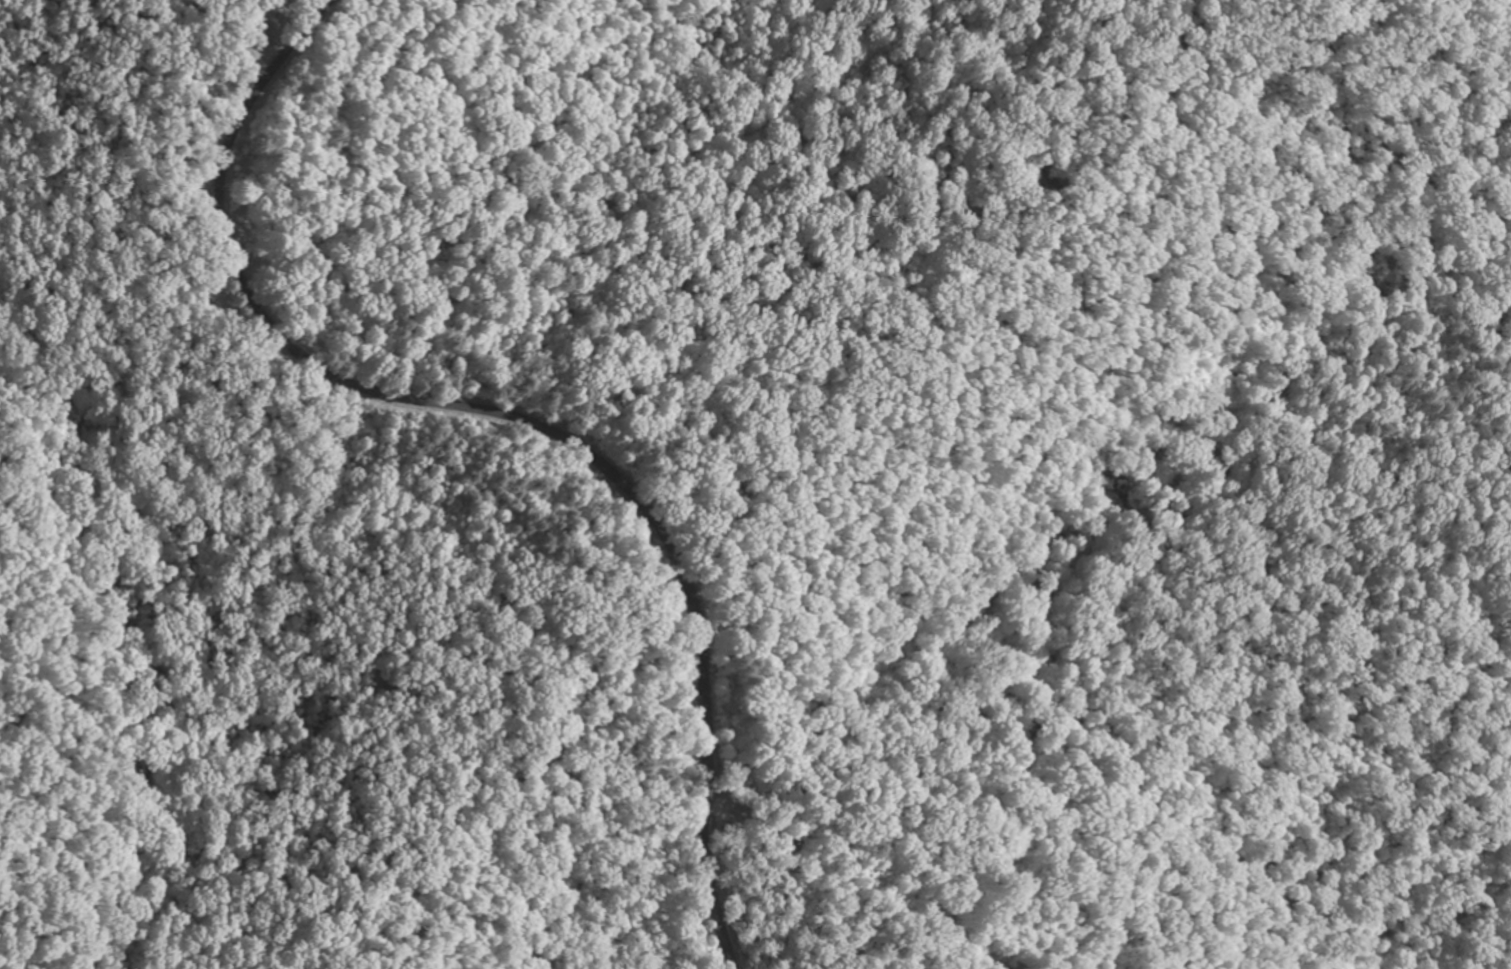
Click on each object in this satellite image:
road: (508, 420)
park: (755, 484)

